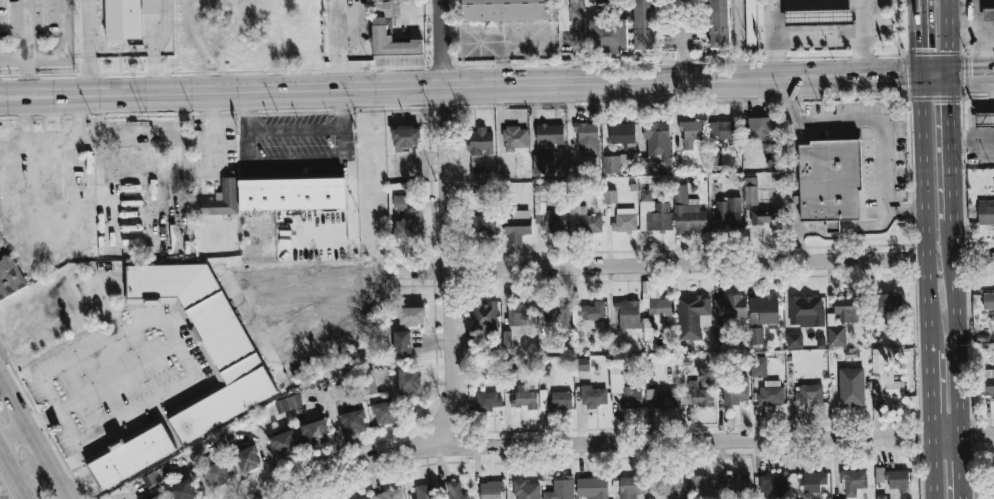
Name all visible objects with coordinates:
building: (606, 1)
building: (152, 6)
building: (384, 8)
building: (504, 10)
building: (988, 13)
building: (562, 14)
building: (818, 16)
building: (124, 19)
road: (977, 21)
building: (718, 23)
road: (740, 23)
building: (750, 23)
building: (644, 24)
road: (28, 28)
road: (822, 30)
parking lot: (35, 33)
building: (608, 34)
road: (973, 35)
road: (867, 38)
road: (918, 38)
road: (950, 38)
building: (391, 40)
road: (777, 40)
road: (577, 41)
road: (338, 45)
road: (153, 46)
traffic signals: (919, 47)
road: (88, 48)
road: (56, 52)
road: (981, 58)
road: (742, 62)
traffic signals: (969, 75)
road: (972, 75)
road: (935, 76)
road: (29, 77)
road: (879, 77)
traffic signals: (901, 77)
road: (418, 86)
road: (789, 100)
traffic signals: (951, 103)
road: (98, 114)
building: (984, 119)
building: (761, 128)
road: (295, 129)
building: (723, 129)
building: (691, 132)
building: (550, 134)
building: (623, 134)
building: (406, 137)
building: (515, 138)
building: (587, 138)
building: (479, 147)
building: (657, 148)
road: (952, 148)
building: (715, 157)
building: (614, 162)
building: (543, 163)
building: (830, 182)
building: (751, 190)
building: (293, 193)
building: (610, 196)
building: (222, 199)
building: (399, 201)
road: (905, 210)
road: (925, 210)
building: (986, 211)
building: (688, 212)
building: (728, 213)
building: (764, 217)
building: (584, 220)
building: (625, 220)
road: (449, 222)
building: (483, 223)
road: (792, 225)
building: (409, 227)
building: (517, 228)
road: (162, 230)
road: (793, 245)
road: (975, 255)
road: (641, 264)
building: (10, 277)
road: (99, 297)
building: (988, 300)
building: (887, 302)
building: (663, 306)
building: (730, 306)
building: (847, 308)
building: (764, 309)
building: (806, 310)
building: (593, 311)
building: (520, 313)
building: (558, 313)
building: (628, 314)
building: (412, 315)
building: (485, 315)
building: (691, 315)
road: (347, 323)
road: (957, 327)
building: (720, 331)
building: (756, 335)
building: (837, 335)
building: (507, 337)
building: (205, 339)
building: (794, 340)
building: (403, 343)
building: (582, 363)
building: (758, 366)
parking lot: (120, 368)
building: (706, 374)
road: (118, 375)
building: (885, 379)
building: (410, 380)
building: (988, 382)
road: (185, 383)
road: (100, 384)
building: (369, 384)
building: (852, 385)
building: (624, 389)
building: (737, 389)
road: (931, 390)
building: (771, 392)
building: (809, 393)
building: (697, 395)
building: (593, 396)
building: (524, 397)
building: (661, 398)
building: (488, 400)
building: (294, 401)
building: (558, 401)
building: (386, 412)
building: (354, 418)
building: (315, 432)
road: (14, 435)
road: (34, 438)
road: (623, 442)
building: (284, 443)
building: (130, 454)
building: (248, 458)
road: (934, 467)
road: (961, 467)
road: (14, 474)
building: (218, 474)
building: (155, 476)
building: (893, 478)
building: (814, 481)
building: (853, 481)
building: (773, 484)
building: (702, 485)
building: (593, 487)
building: (631, 487)
building: (664, 487)
building: (526, 489)
building: (561, 489)
building: (184, 490)
building: (454, 490)
building: (491, 490)
building: (425, 491)
building: (389, 494)
building: (158, 497)
building: (884, 497)
building: (364, 498)
building: (845, 498)

